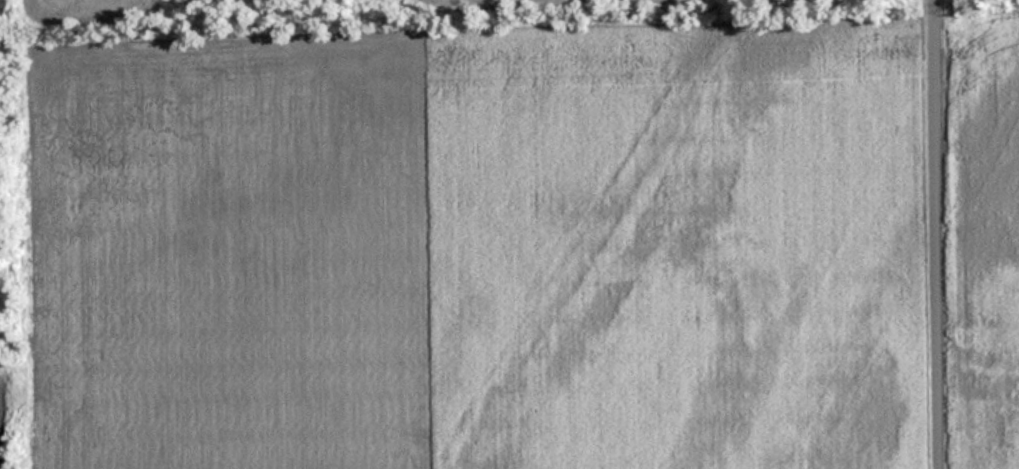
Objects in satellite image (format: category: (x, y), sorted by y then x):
road: (938, 234)

